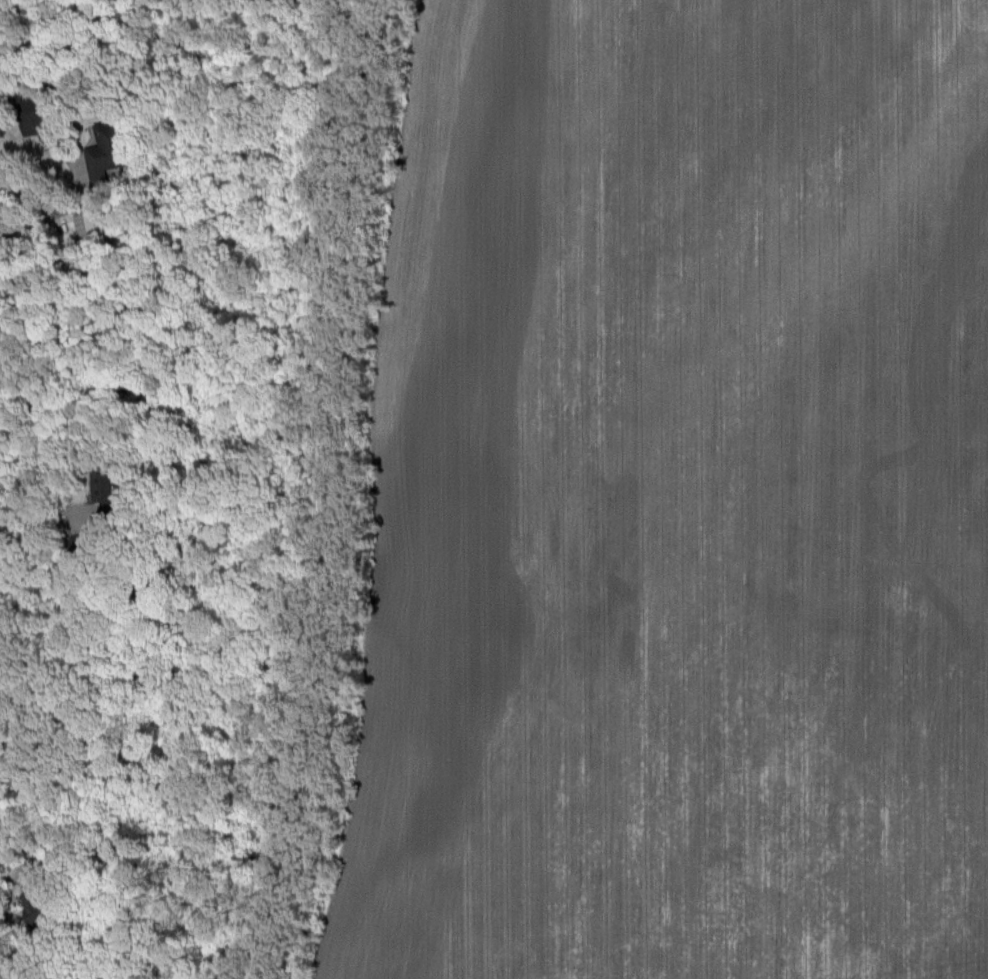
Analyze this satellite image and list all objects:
building: (108, 151)
road: (81, 206)
building: (105, 484)
road: (47, 504)
road: (23, 846)

